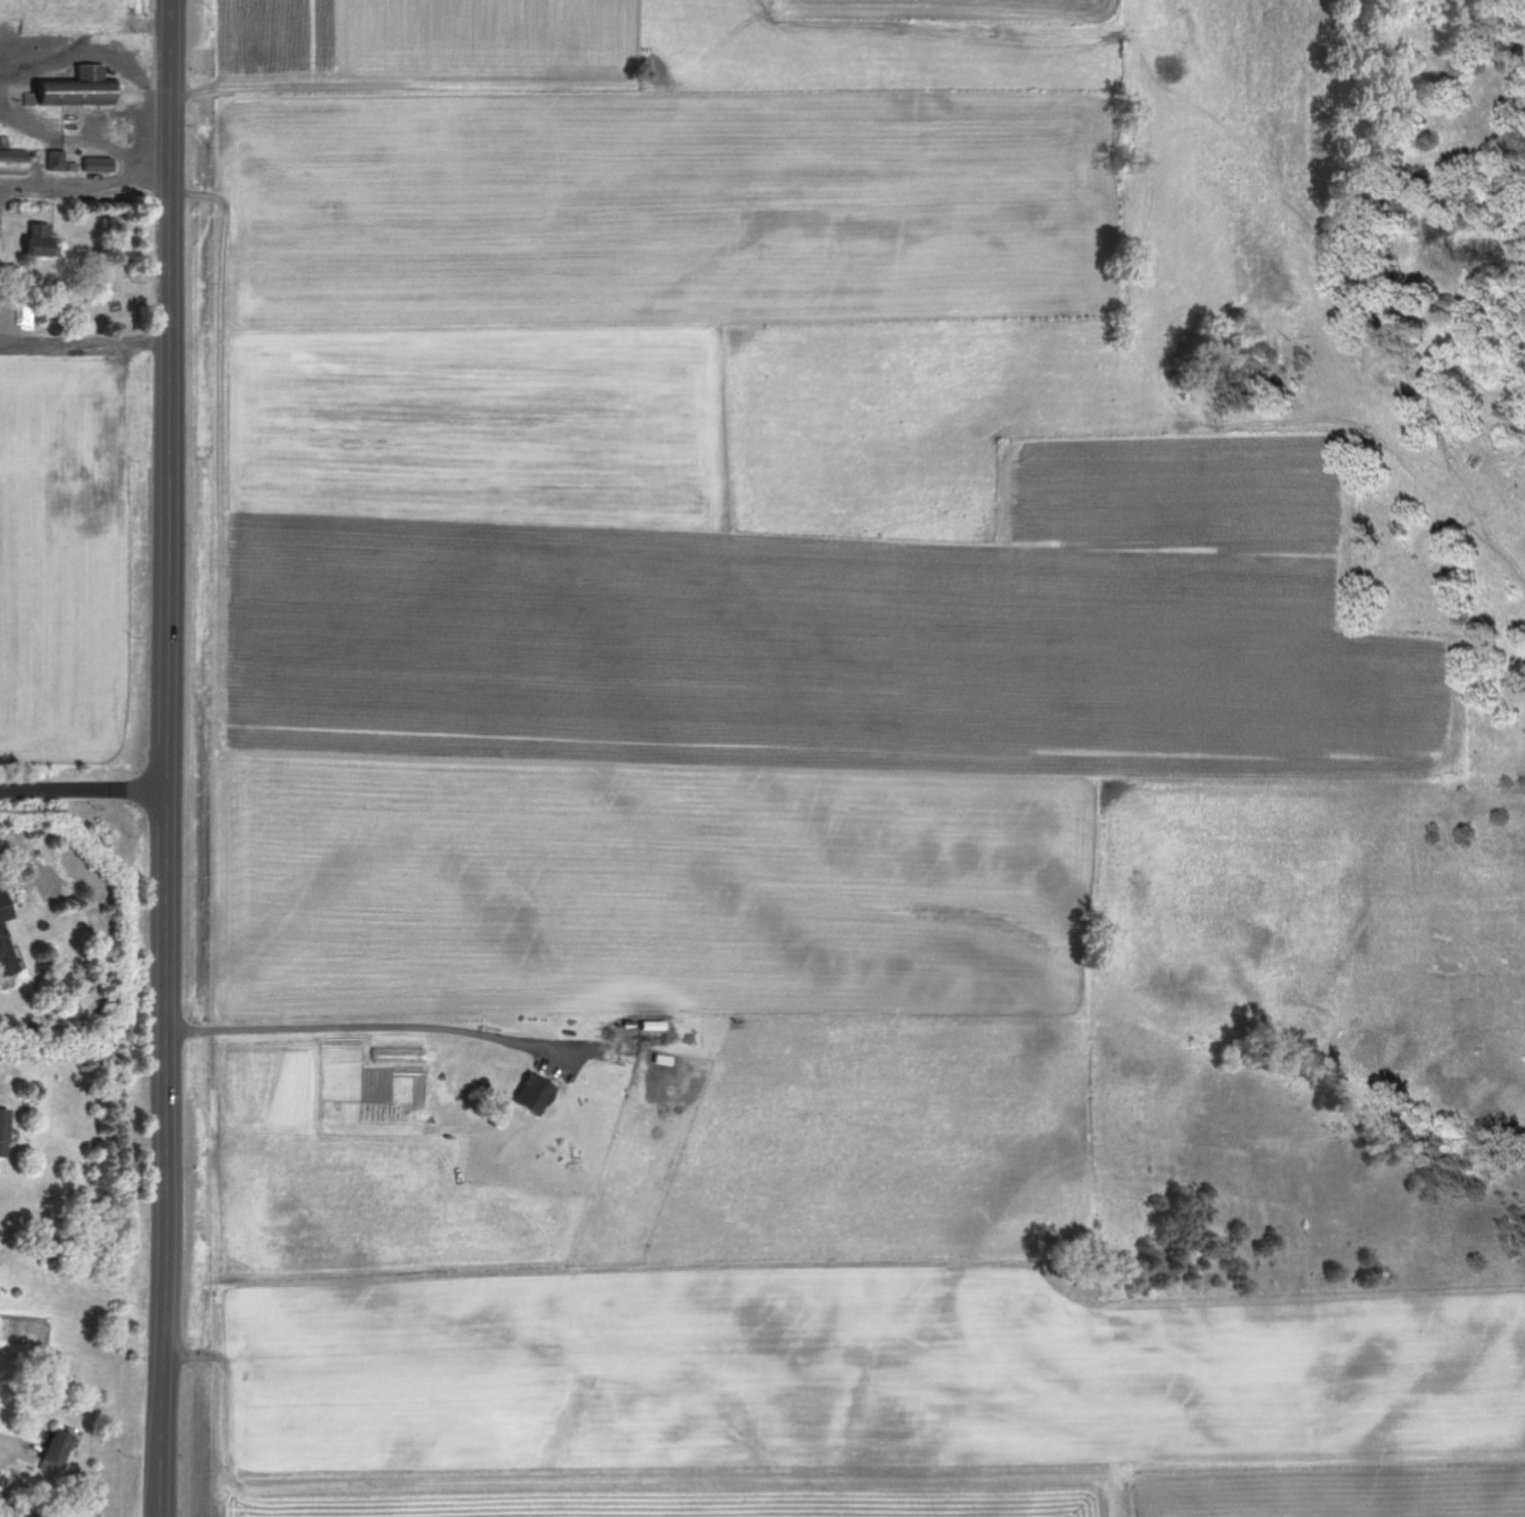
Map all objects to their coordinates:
building: (78, 88)
building: (14, 160)
building: (61, 161)
building: (100, 164)
road: (86, 188)
building: (42, 239)
building: (74, 306)
building: (1, 317)
road: (175, 758)
road: (88, 788)
building: (8, 953)
road: (359, 1020)
building: (5, 1130)
building: (53, 1245)
building: (61, 1446)
road: (9, 1451)

